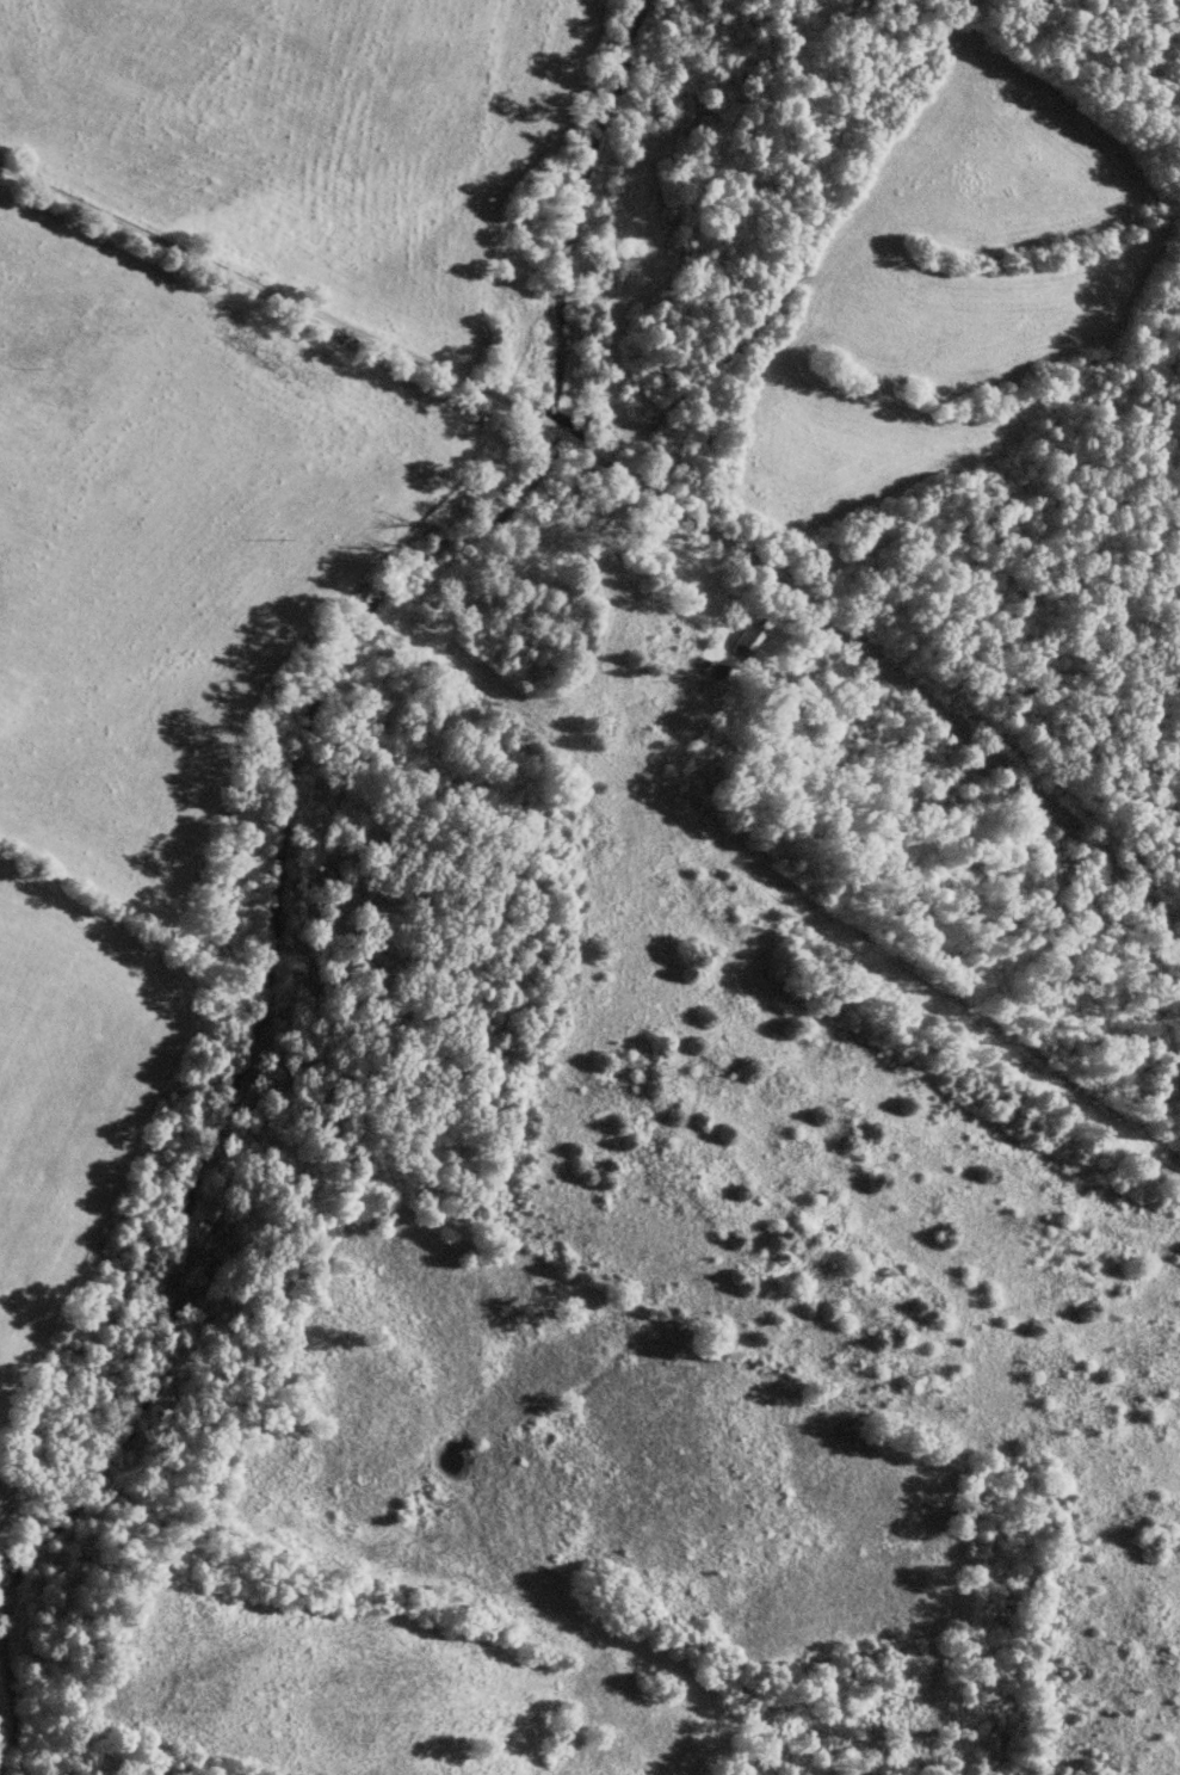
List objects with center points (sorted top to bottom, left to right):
road: (637, 469)
building: (746, 642)

